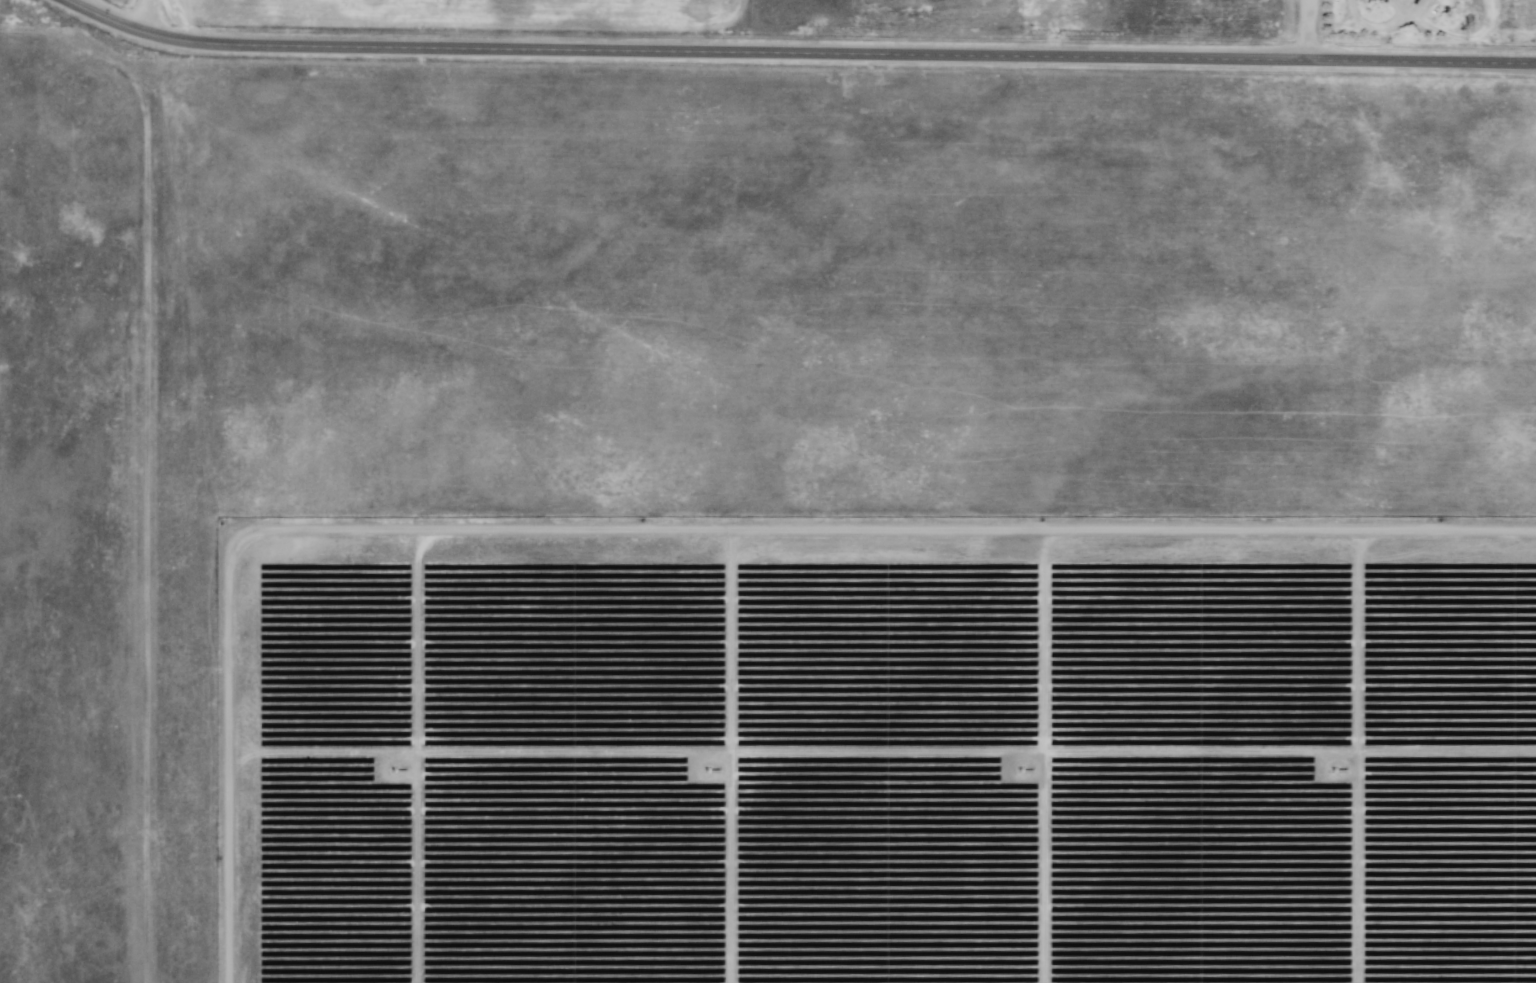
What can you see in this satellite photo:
building: (1410, 1)
road: (147, 17)
road: (1312, 30)
road: (797, 53)
solar farm: (762, 525)

